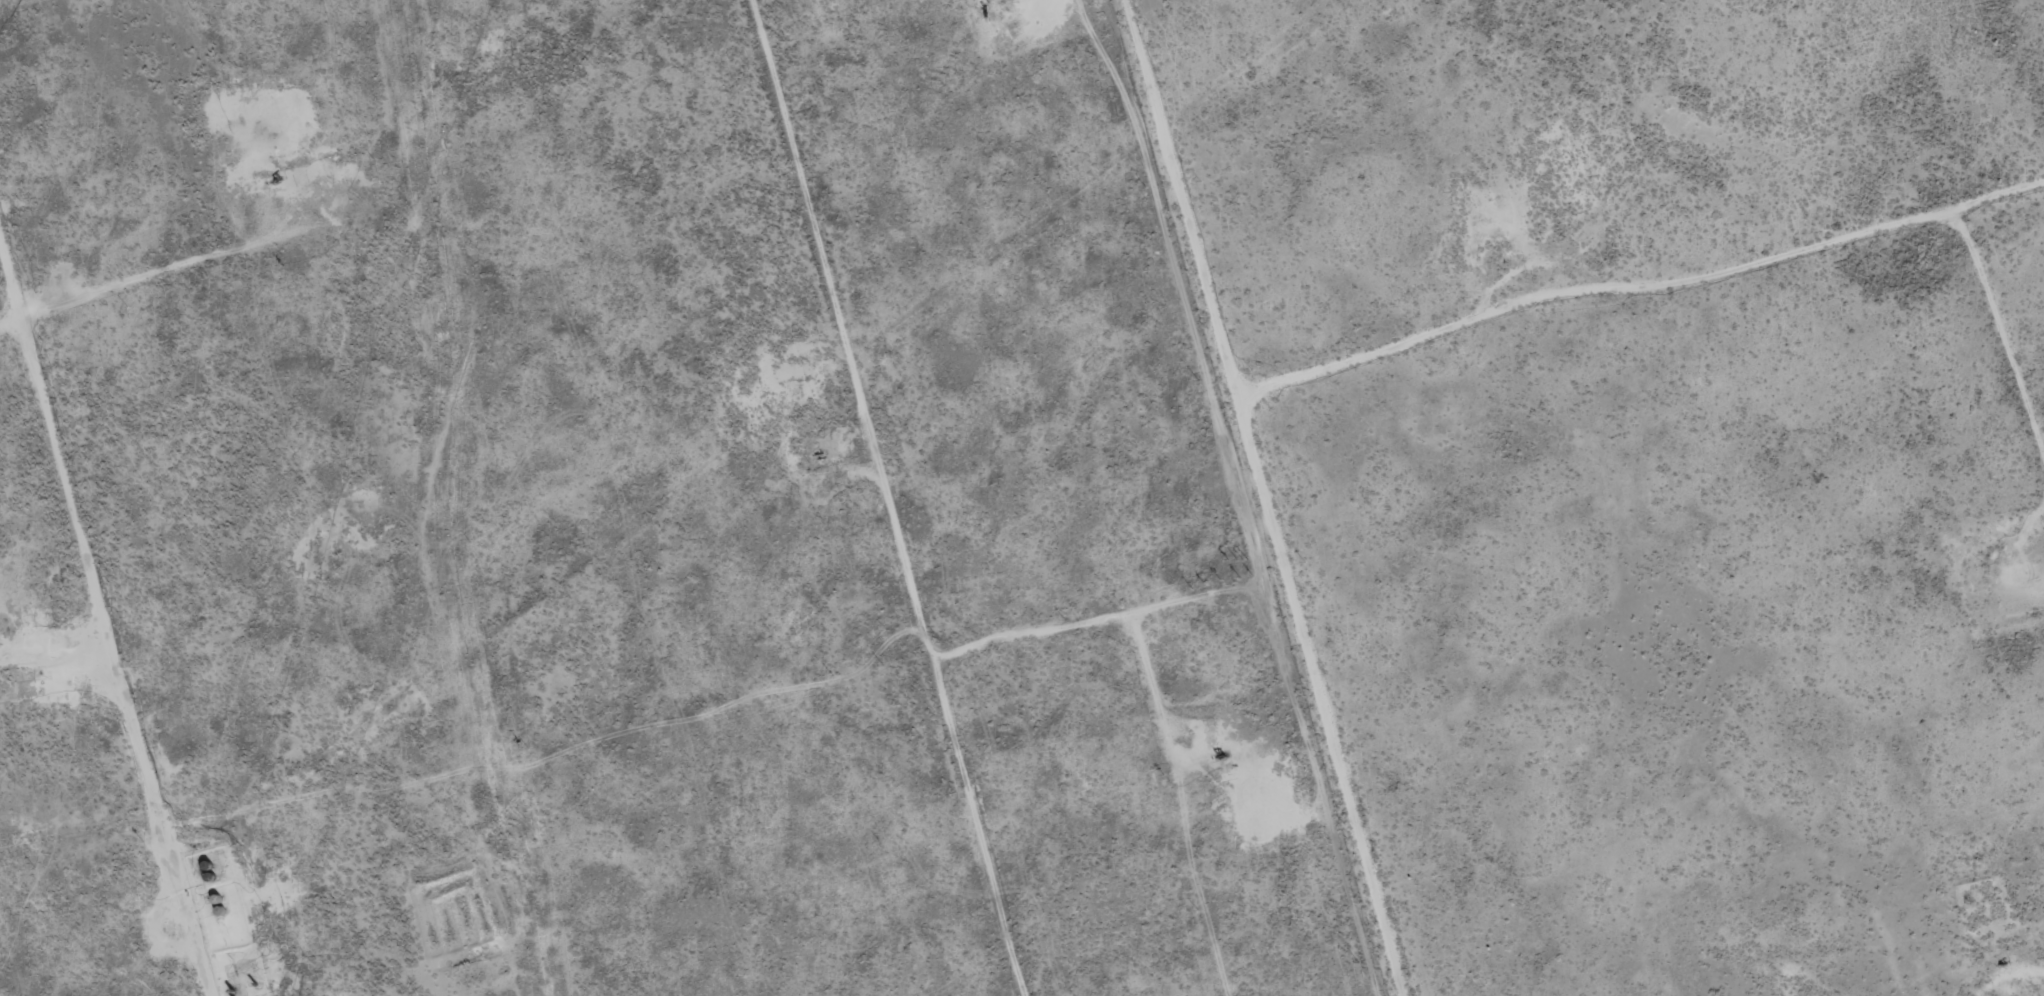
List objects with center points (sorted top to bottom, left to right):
road: (1671, 333)
road: (1318, 495)
road: (935, 498)
road: (127, 527)
petroleum well: (1220, 758)

